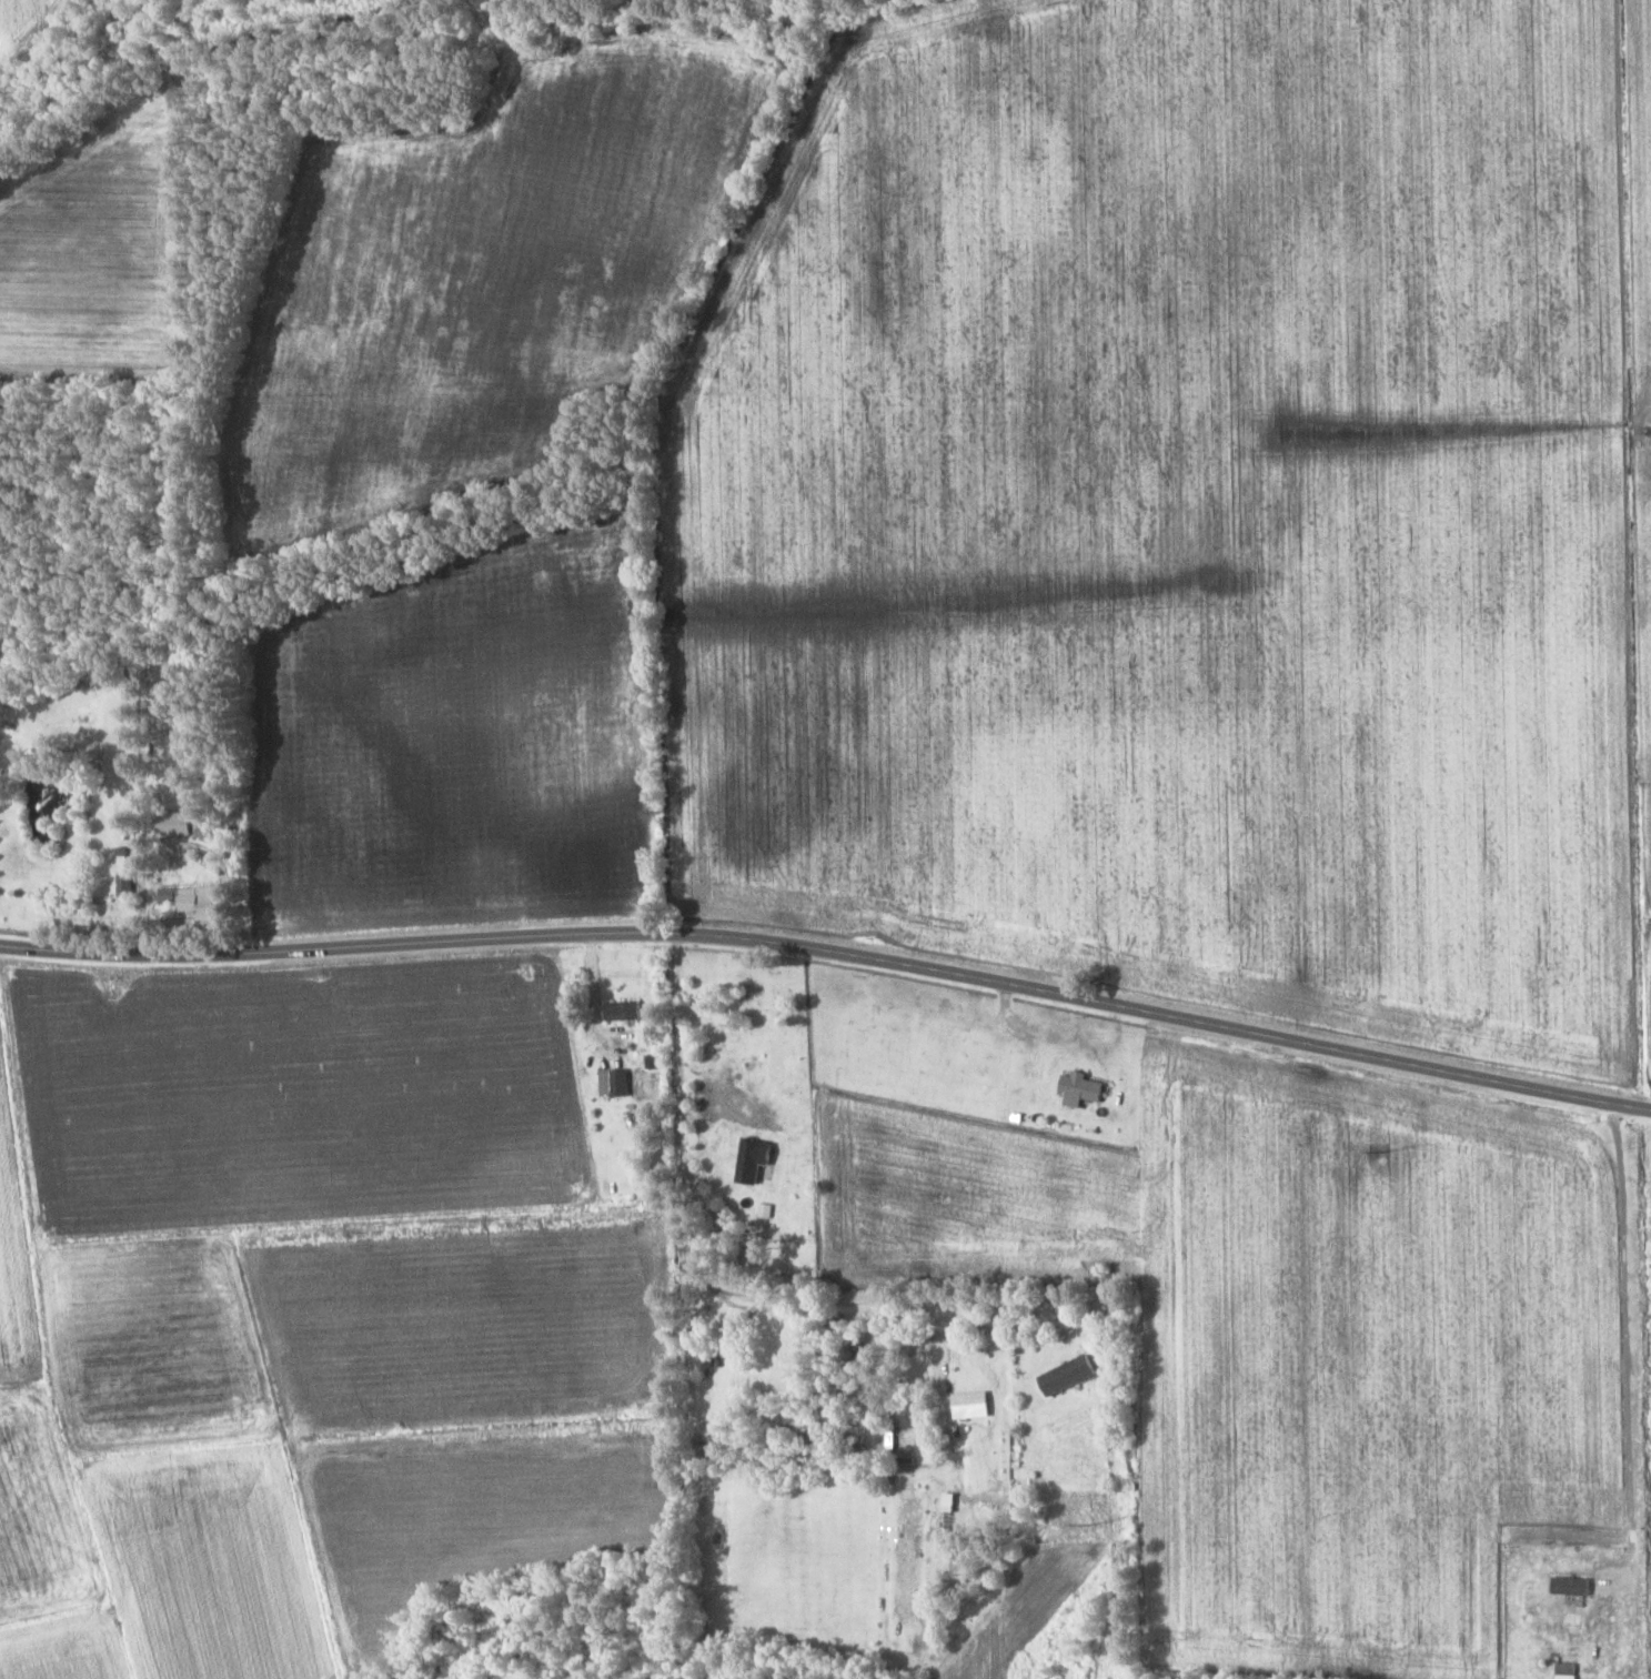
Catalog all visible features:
building: (179, 720)
building: (169, 822)
building: (125, 885)
building: (13, 898)
building: (193, 902)
road: (832, 951)
building: (624, 1012)
building: (614, 1083)
power tower: (1383, 1152)
building: (1067, 1375)
building: (947, 1502)
power tower: (1088, 1525)

